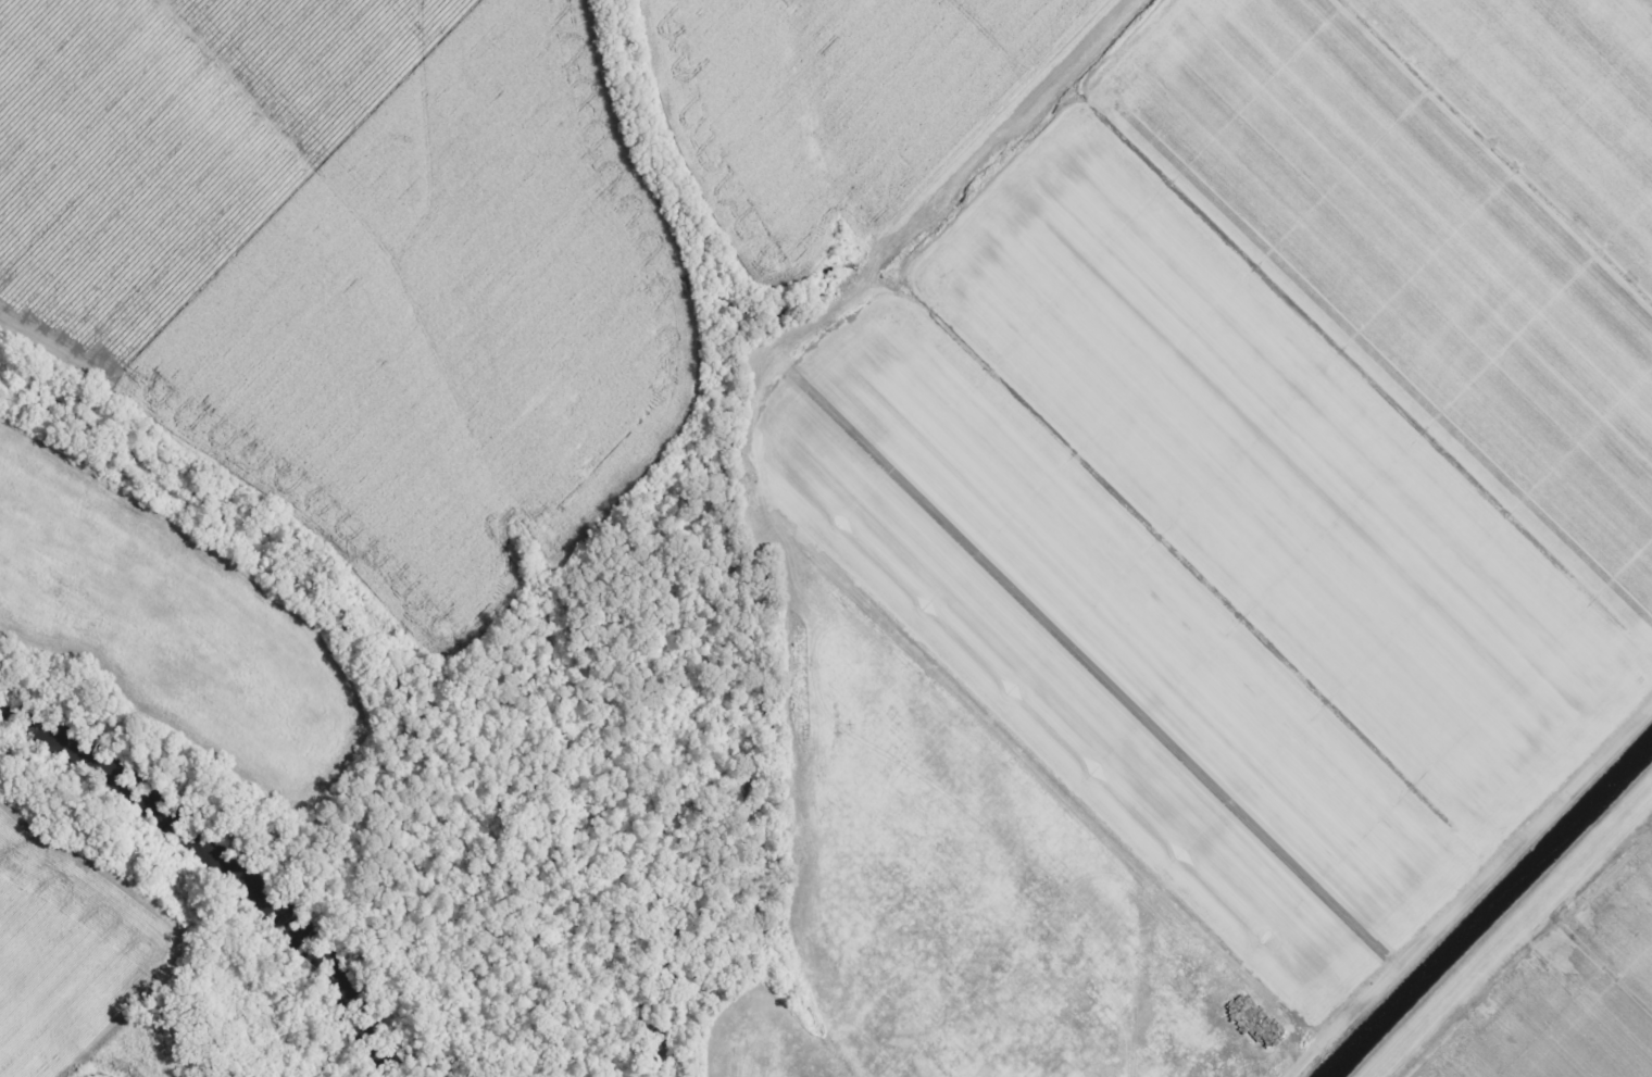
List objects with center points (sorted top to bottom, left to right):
road: (1474, 892)

